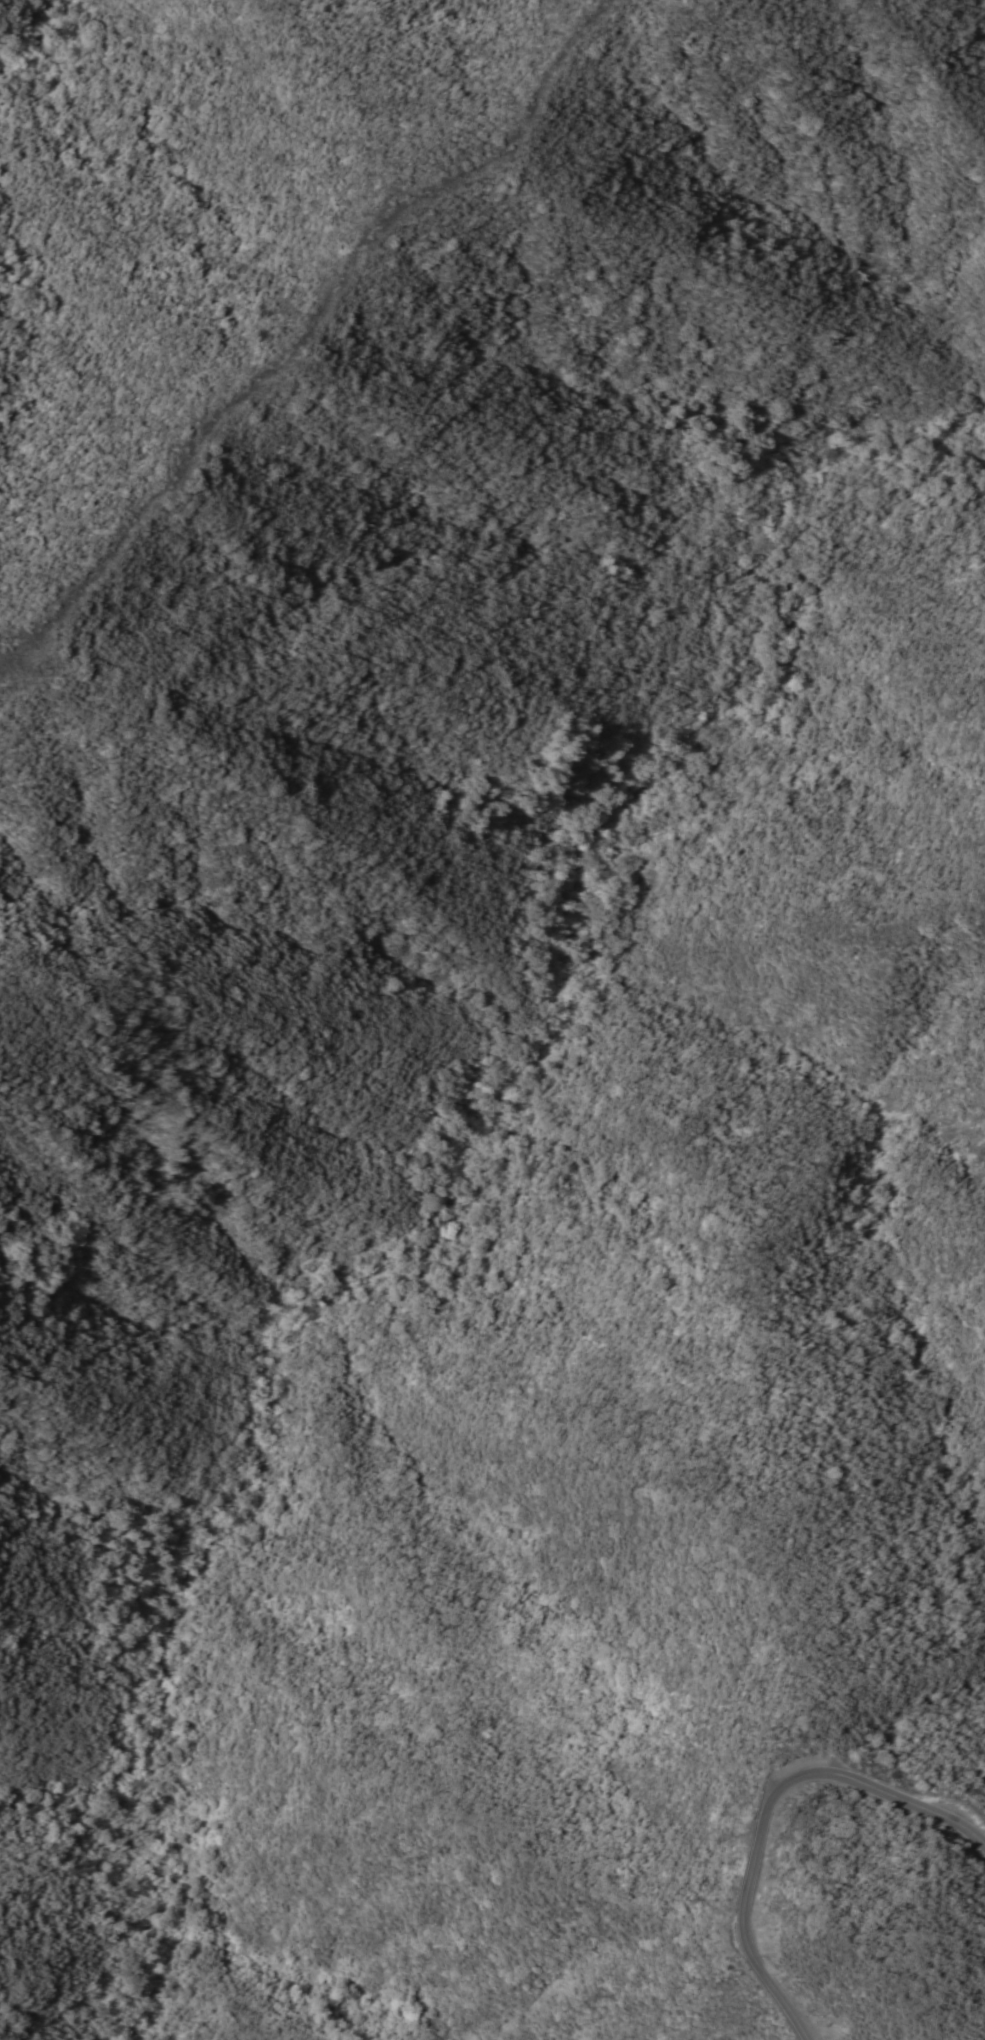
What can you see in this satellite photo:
road: (767, 1809)

